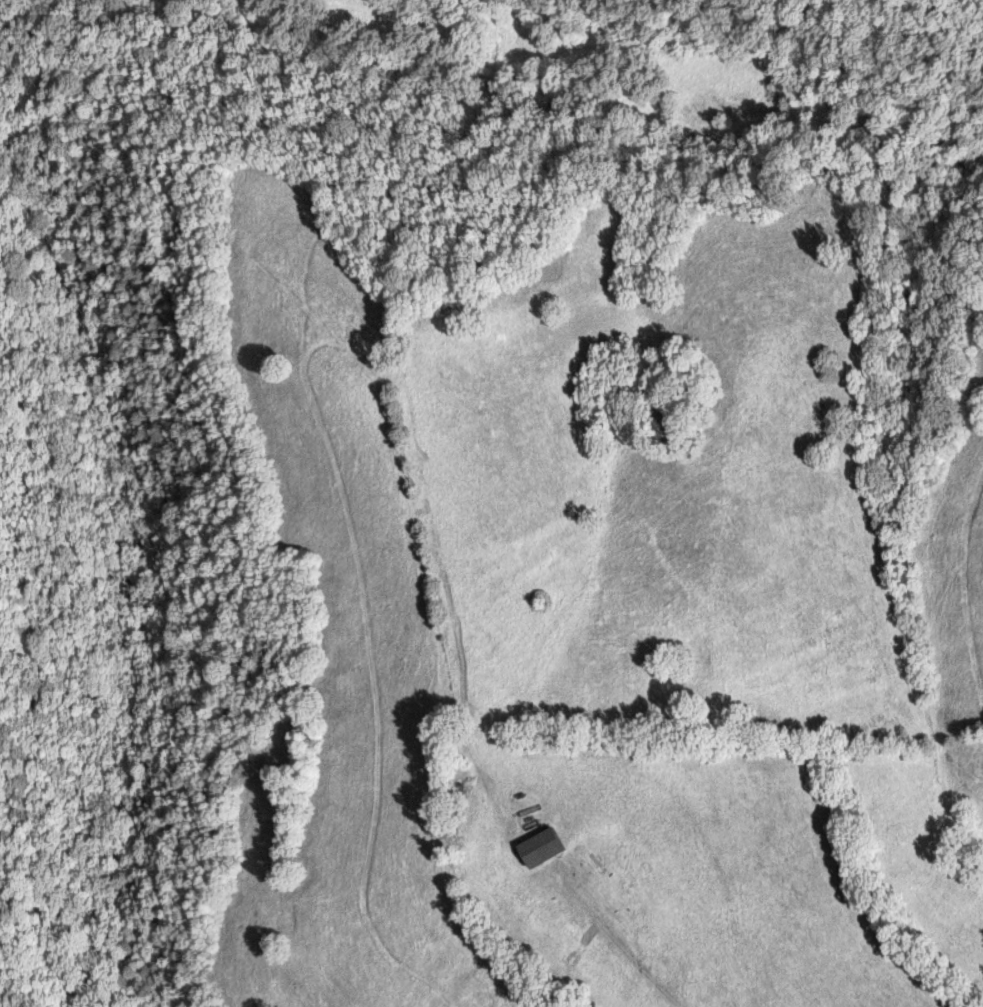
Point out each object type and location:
building: (546, 847)

